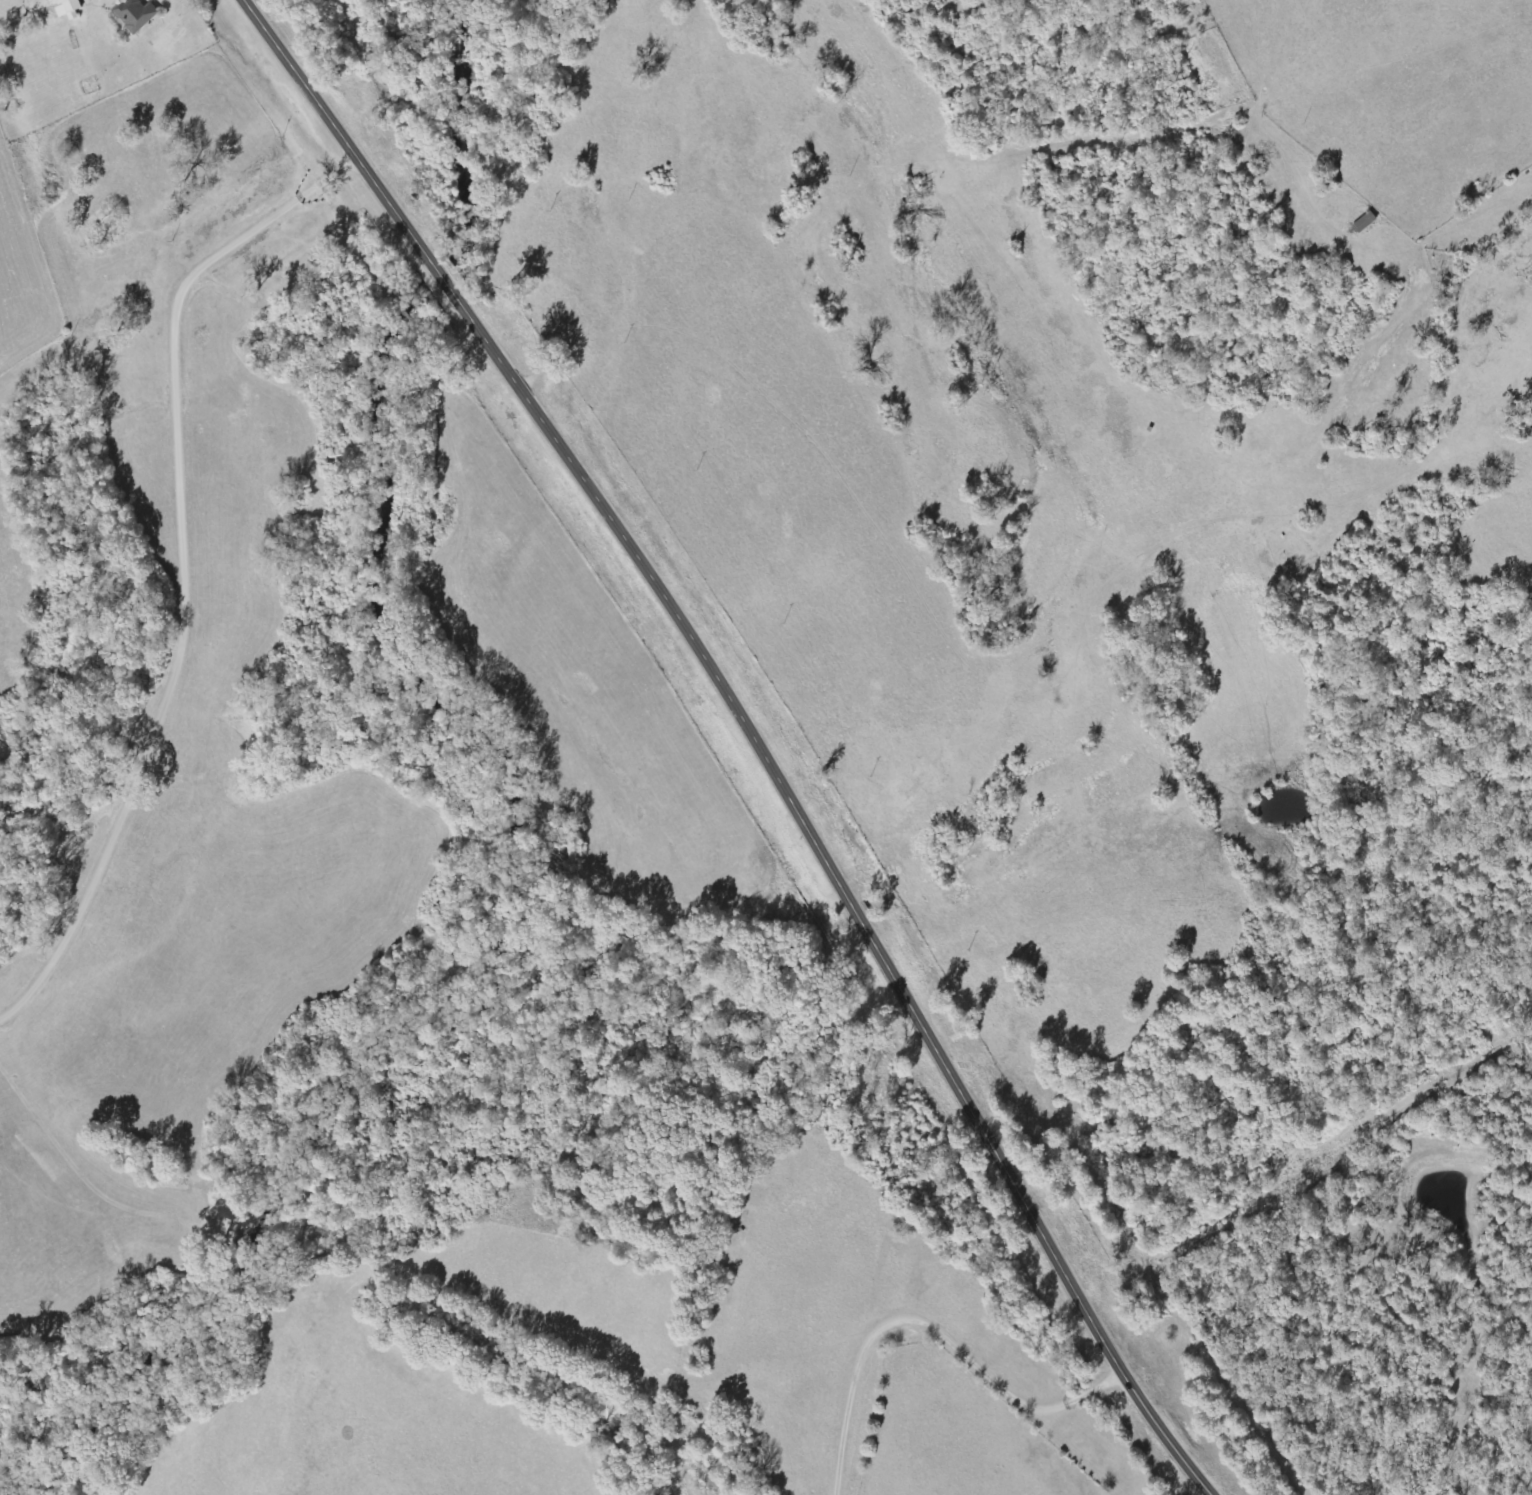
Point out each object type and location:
building: (68, 8)
building: (139, 16)
road: (120, 199)
building: (1367, 223)
road: (747, 734)

